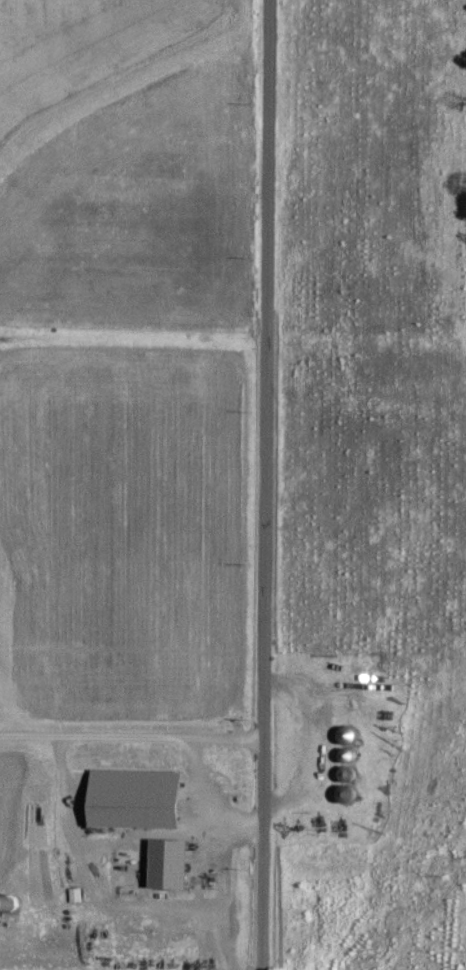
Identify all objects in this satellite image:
road: (264, 485)
road: (131, 735)
road: (205, 799)
building: (173, 863)
building: (76, 894)
road: (226, 897)

